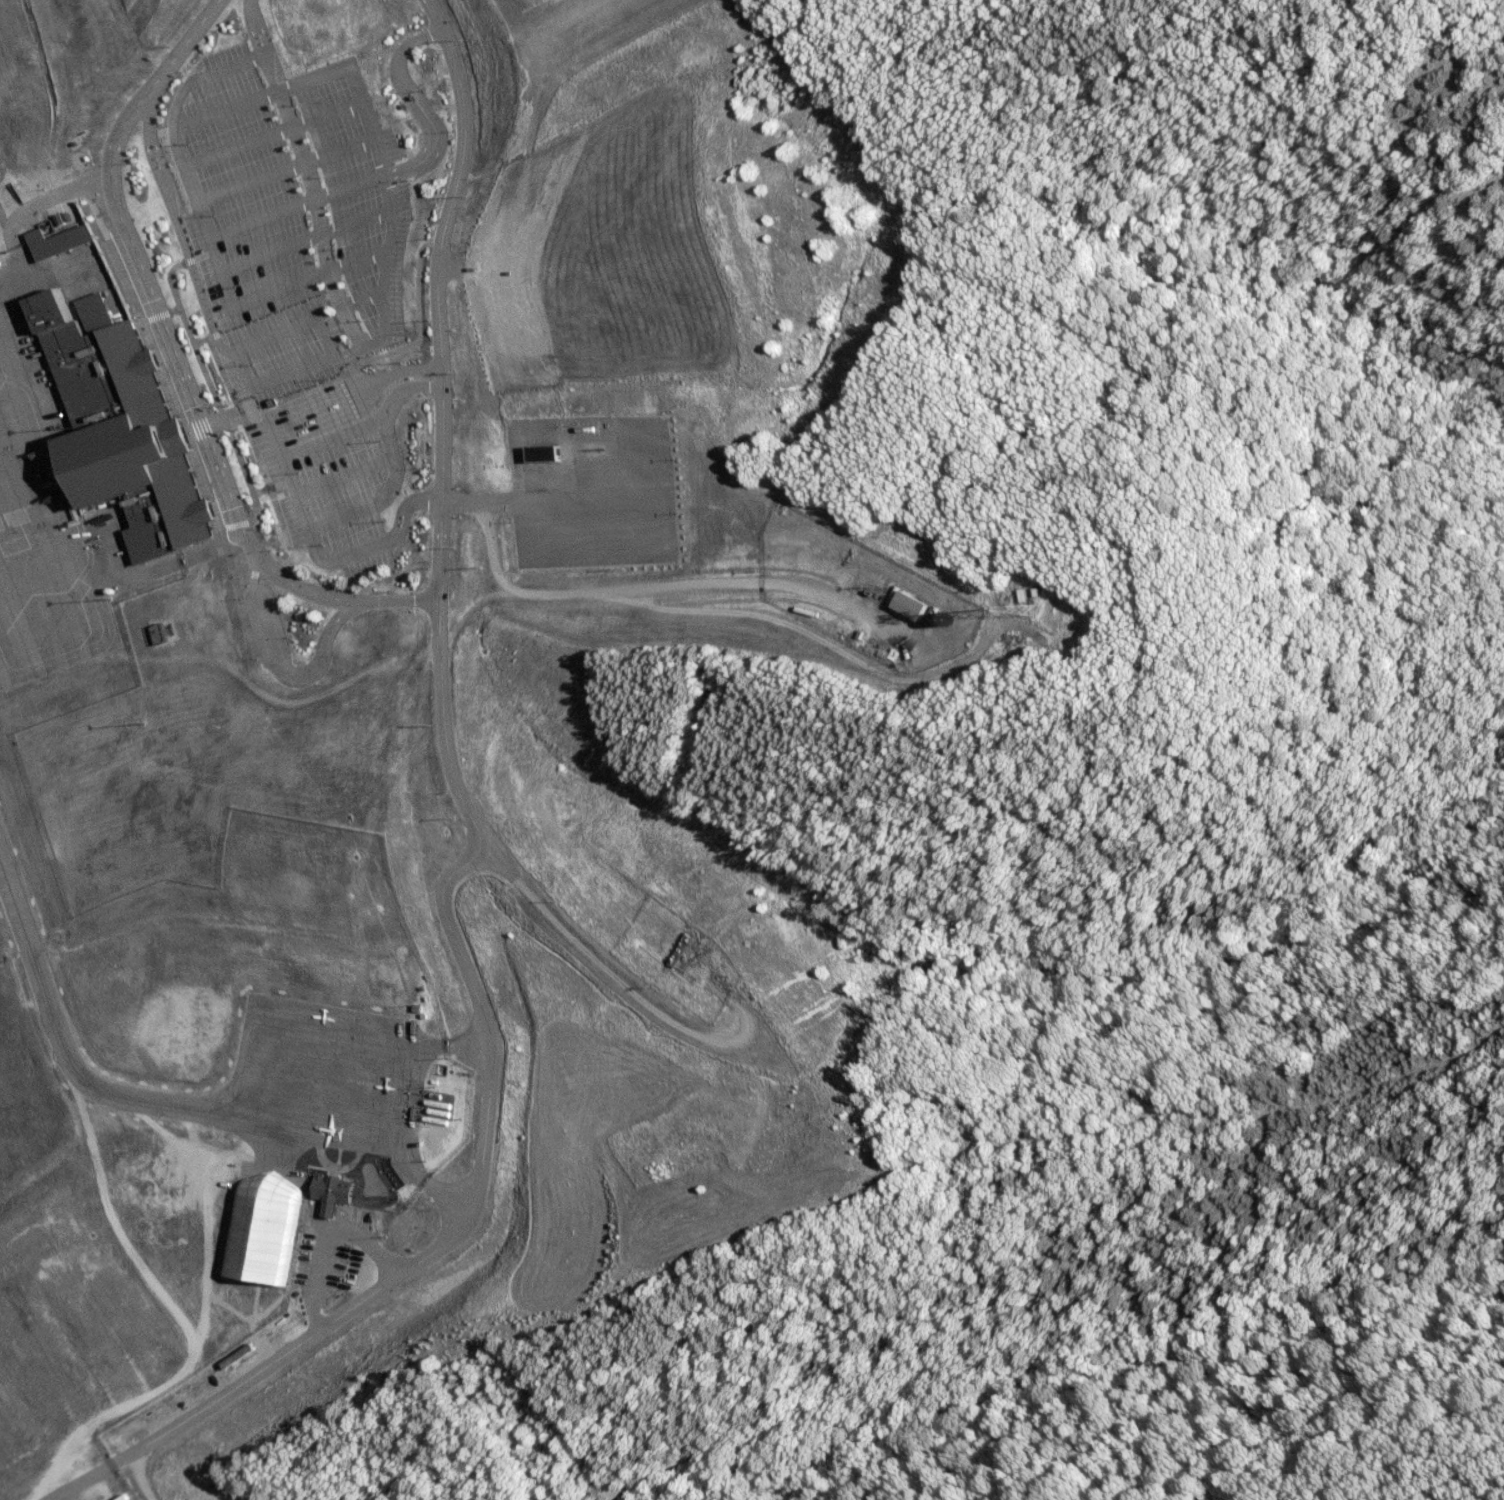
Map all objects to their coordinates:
road: (243, 27)
road: (338, 94)
road: (405, 108)
road: (191, 211)
road: (171, 231)
building: (55, 242)
road: (339, 279)
parking lot: (288, 282)
road: (307, 322)
road: (165, 370)
road: (268, 375)
road: (441, 423)
airport terminal: (108, 426)
building: (108, 426)
building: (547, 453)
road: (329, 474)
road: (275, 490)
road: (370, 496)
road: (546, 506)
airport apron: (37, 559)
building: (913, 606)
road: (277, 664)
airport: (448, 671)
road: (643, 994)
airport taxiway: (58, 1052)
airport apron: (304, 1075)
building: (313, 1193)
road: (309, 1231)
airport hangar: (241, 1235)
building: (241, 1235)
road: (430, 1245)

